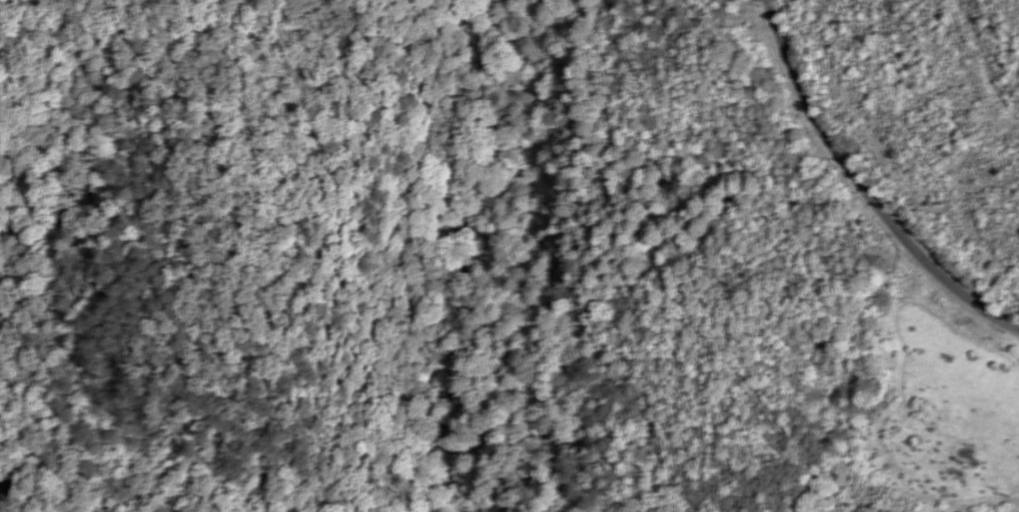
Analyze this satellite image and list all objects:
road: (858, 190)

